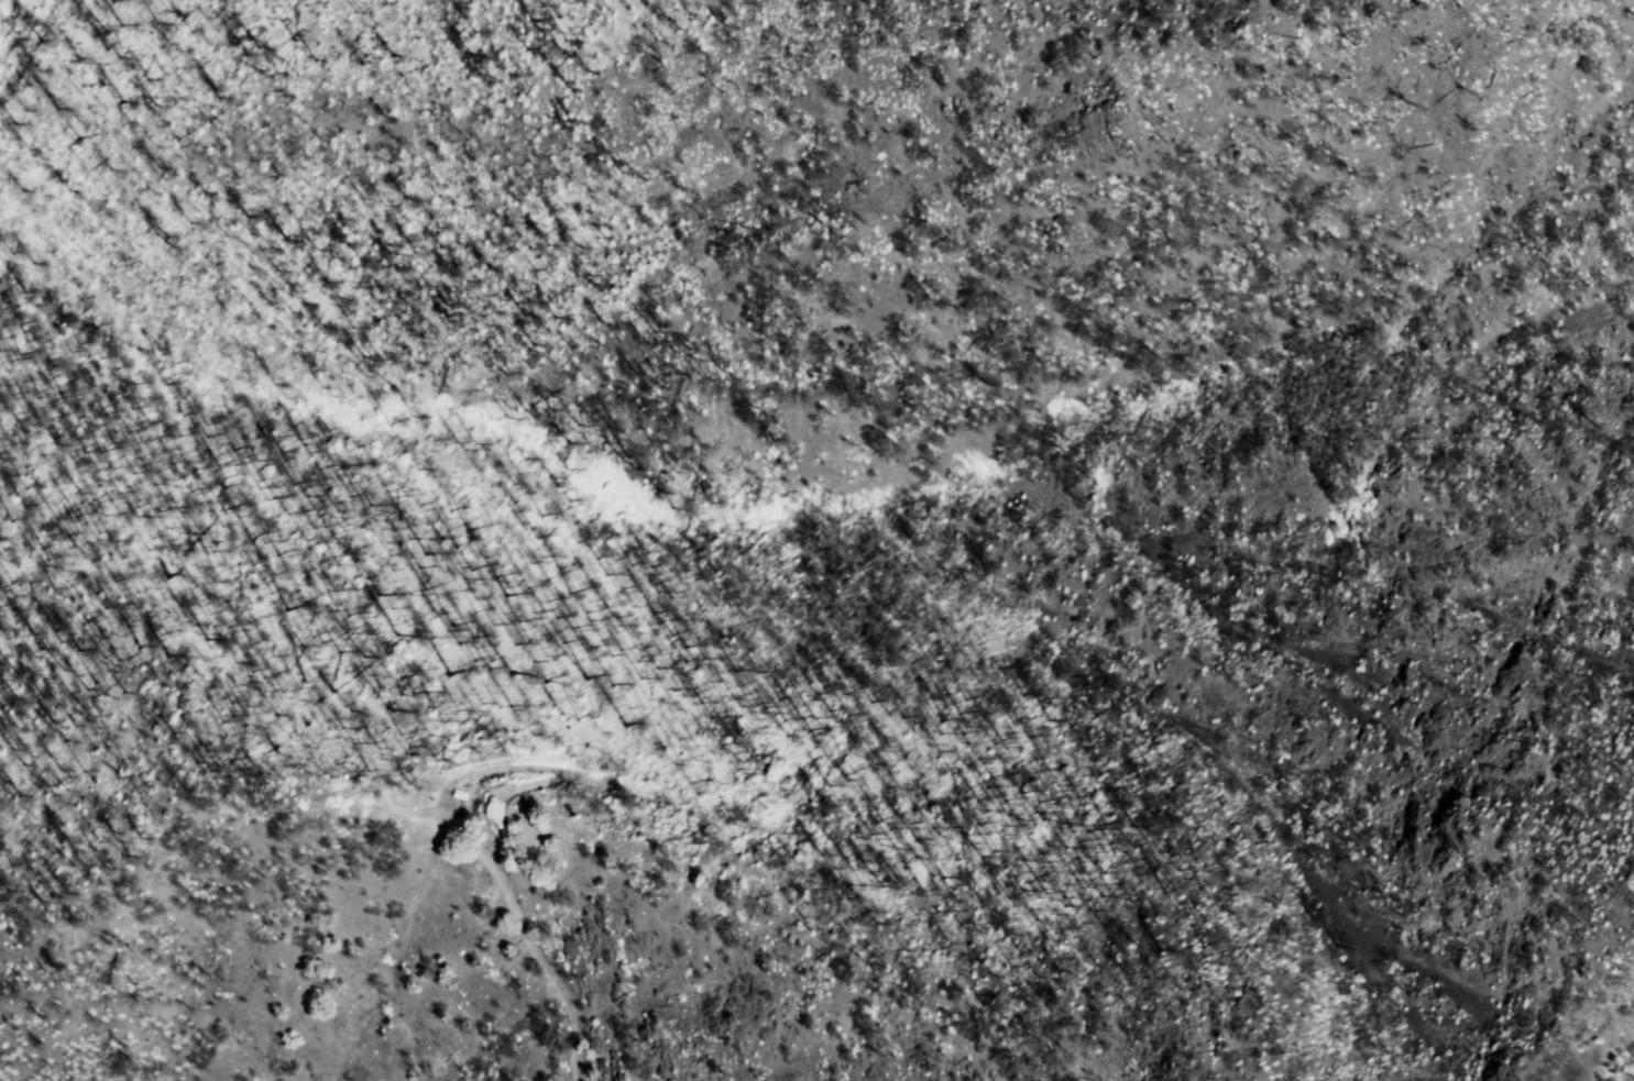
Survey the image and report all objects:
road: (398, 882)

